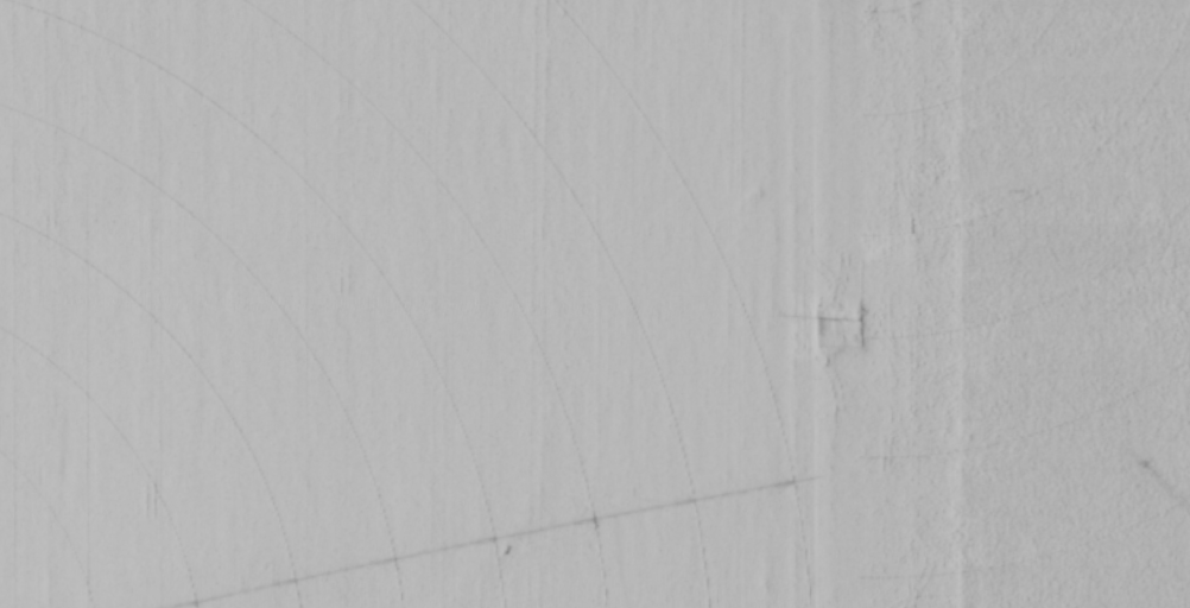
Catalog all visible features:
power tower: (850, 322)

